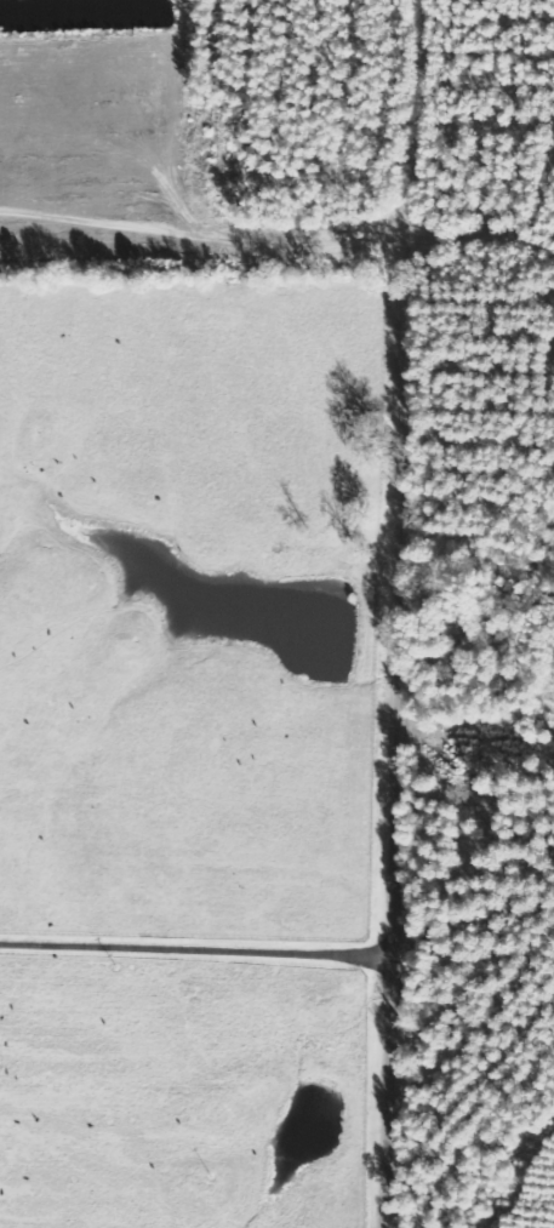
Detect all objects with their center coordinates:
road: (486, 234)
road: (402, 613)
road: (195, 947)

